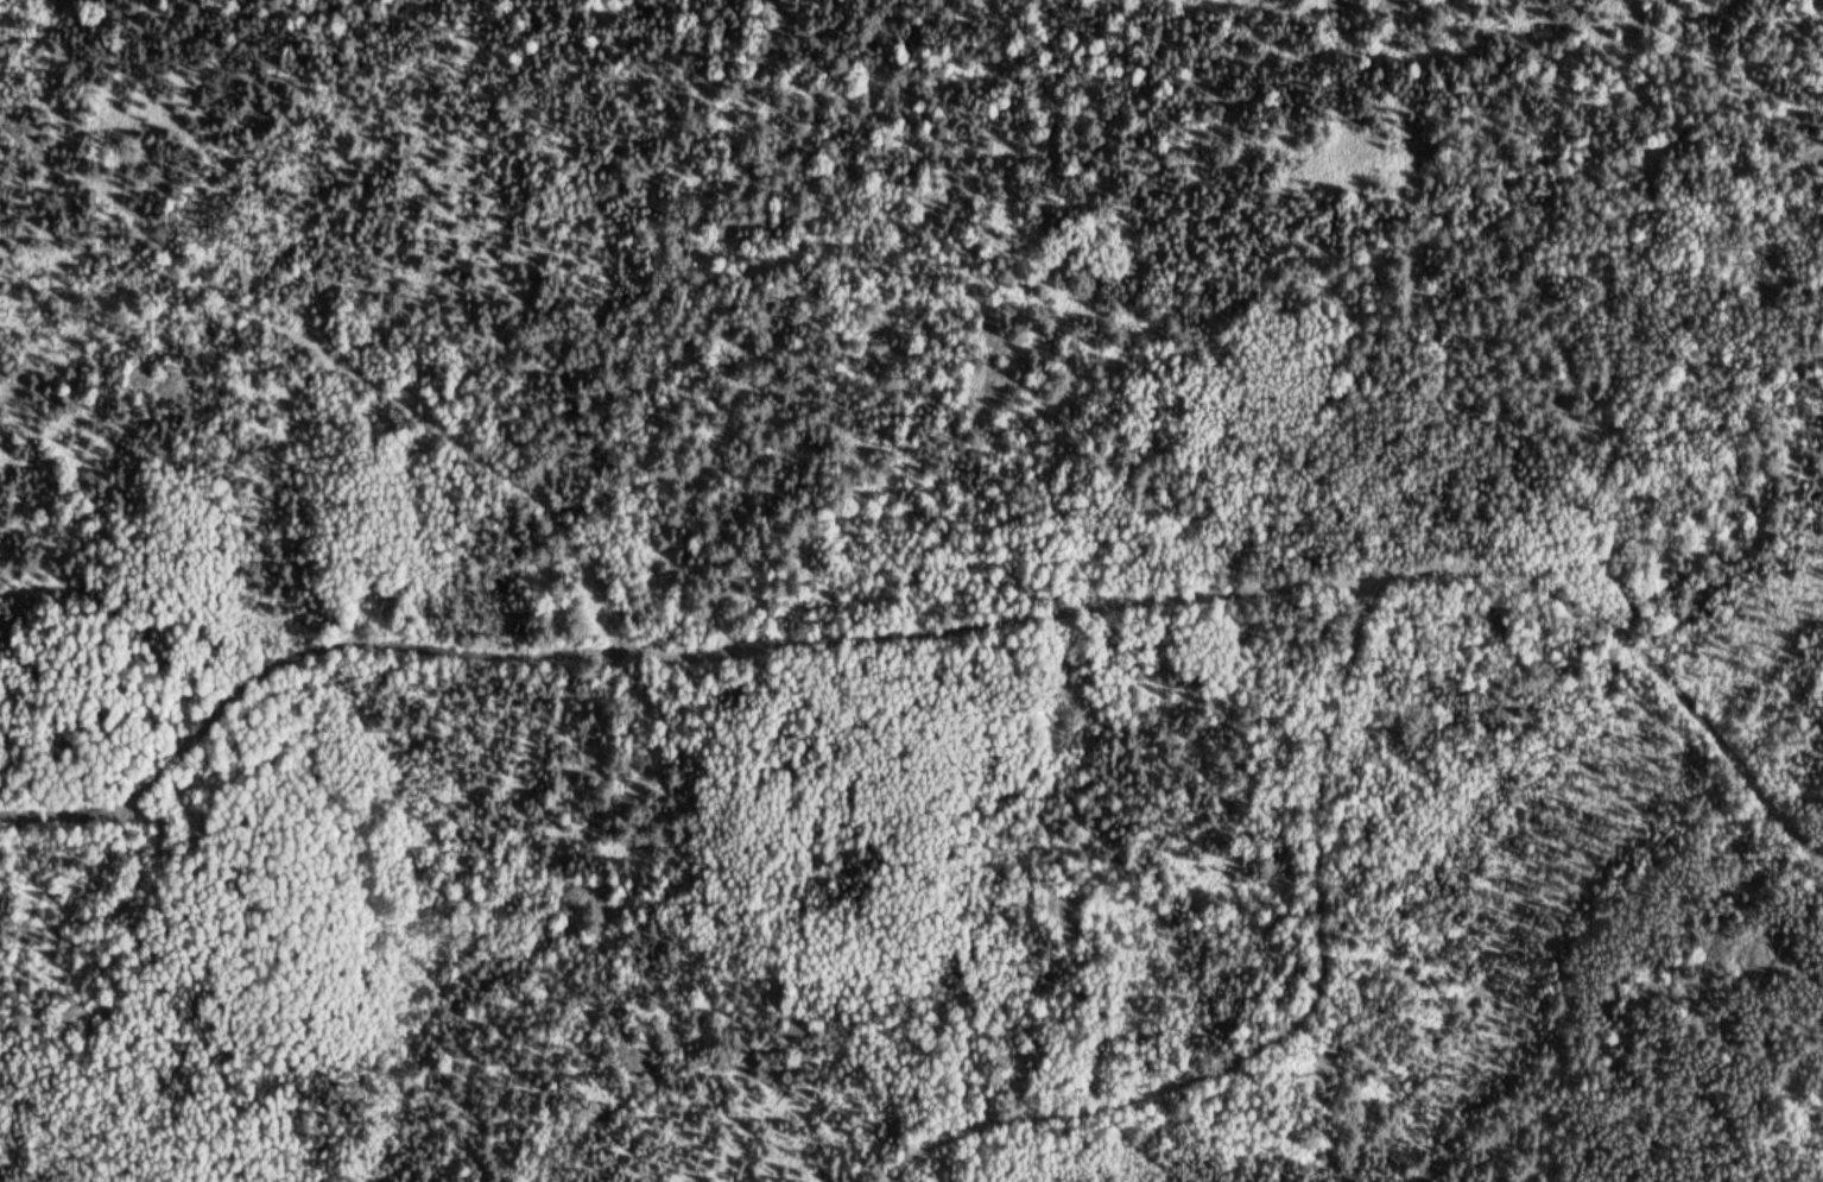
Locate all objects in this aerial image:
road: (943, 606)
road: (1311, 1015)

